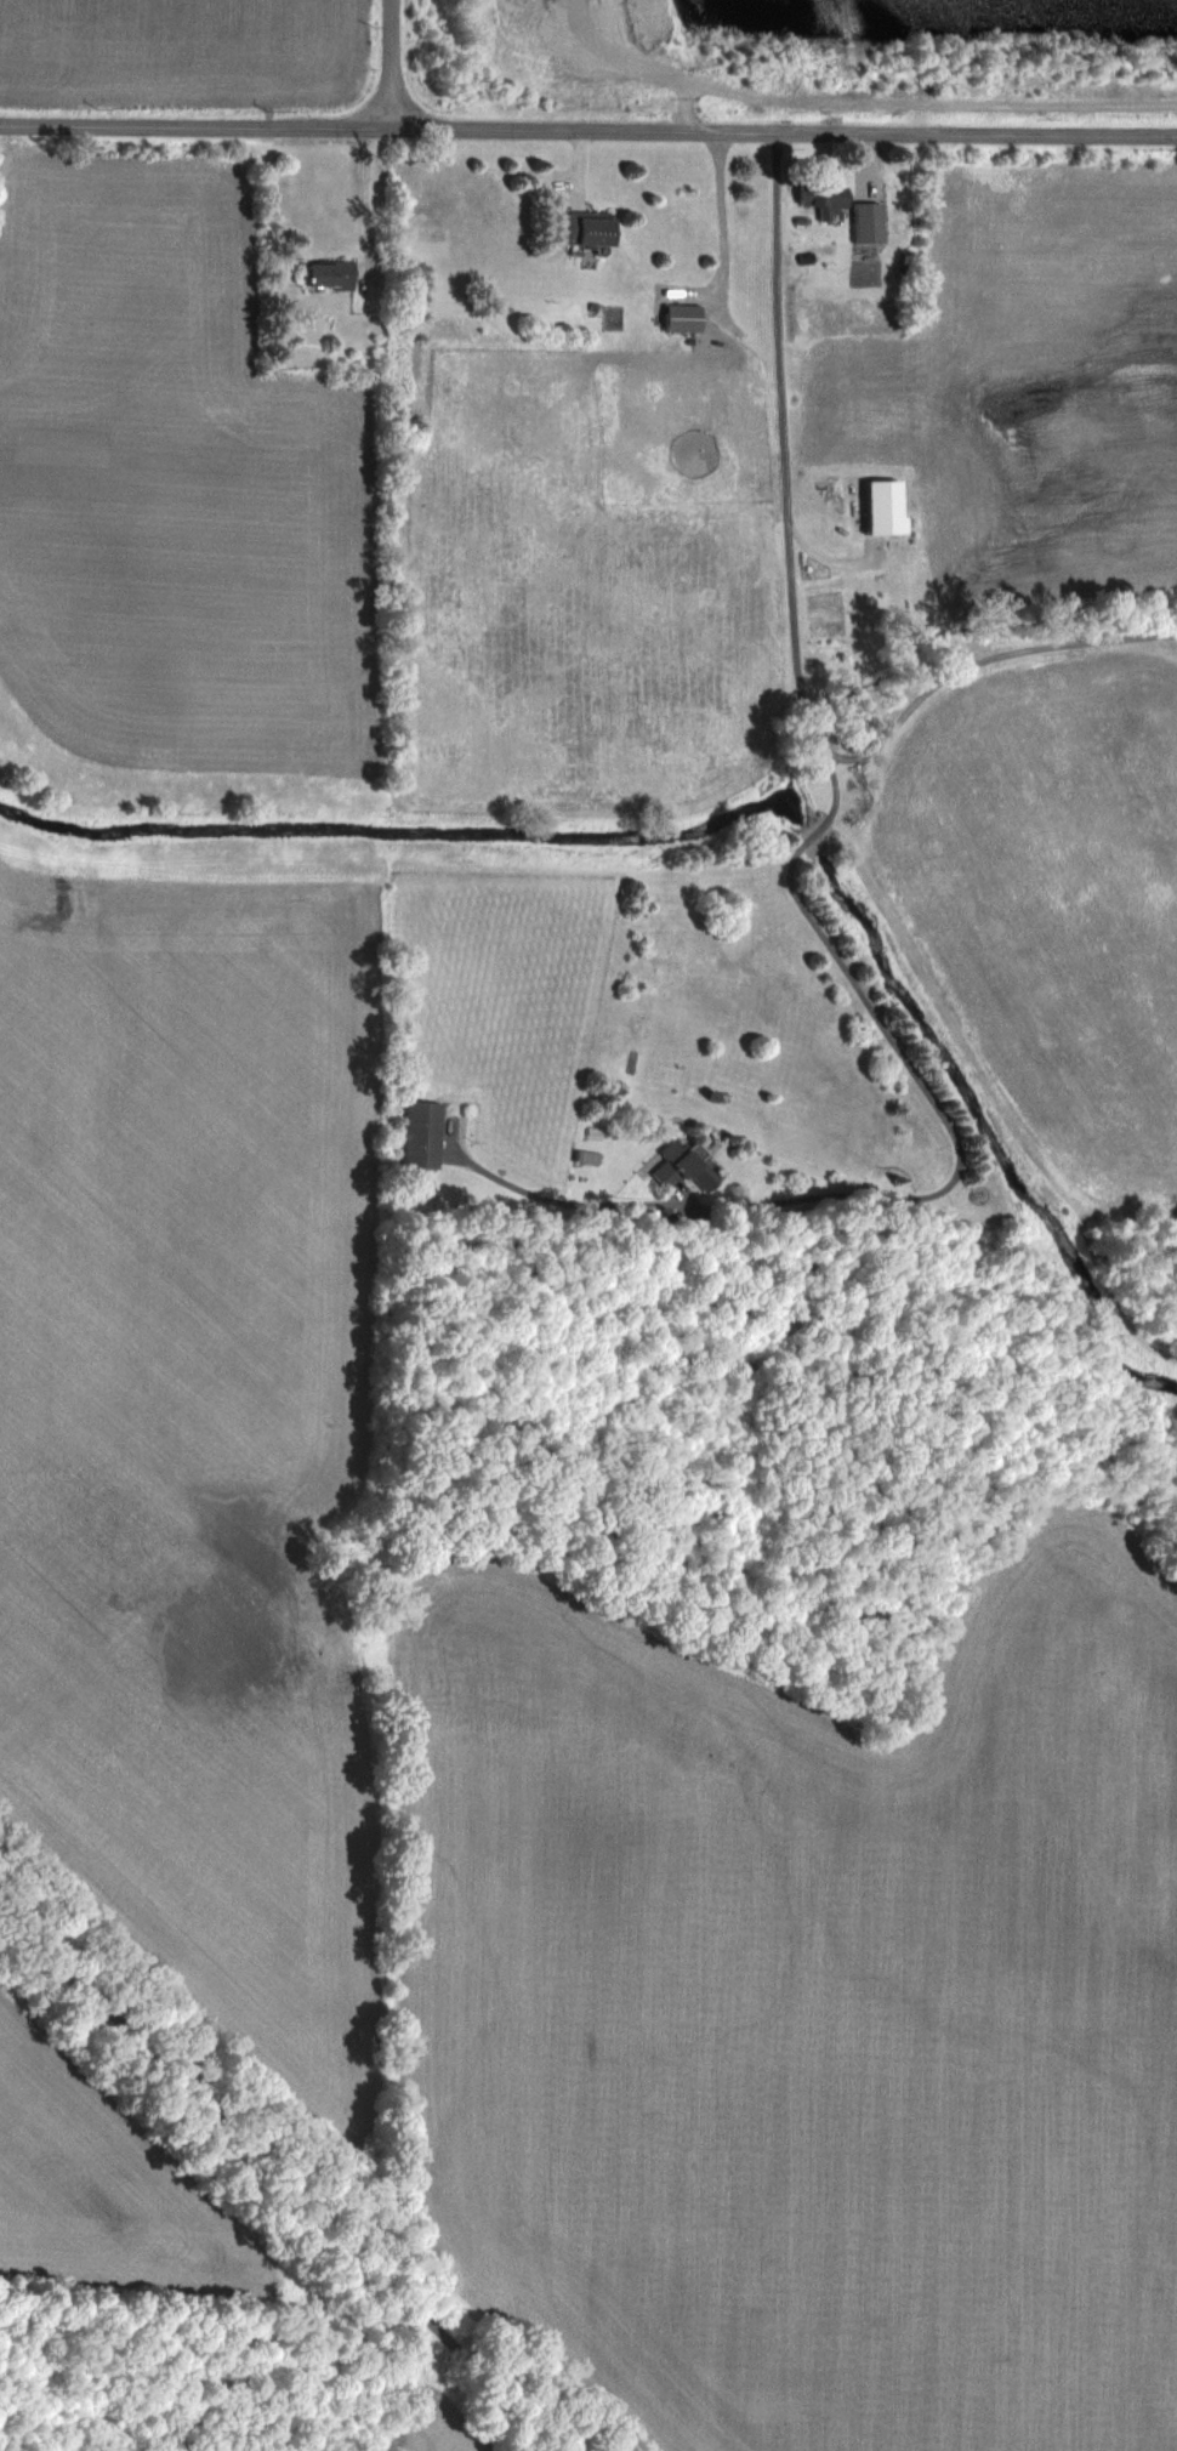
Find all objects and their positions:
road: (382, 62)
road: (974, 104)
road: (588, 129)
road: (366, 195)
building: (820, 197)
road: (722, 217)
building: (863, 222)
building: (584, 229)
building: (324, 274)
building: (678, 317)
road: (787, 444)
building: (883, 510)
road: (838, 562)
road: (985, 660)
building: (423, 1136)
building: (681, 1166)
road: (951, 1185)
road: (282, 2173)

